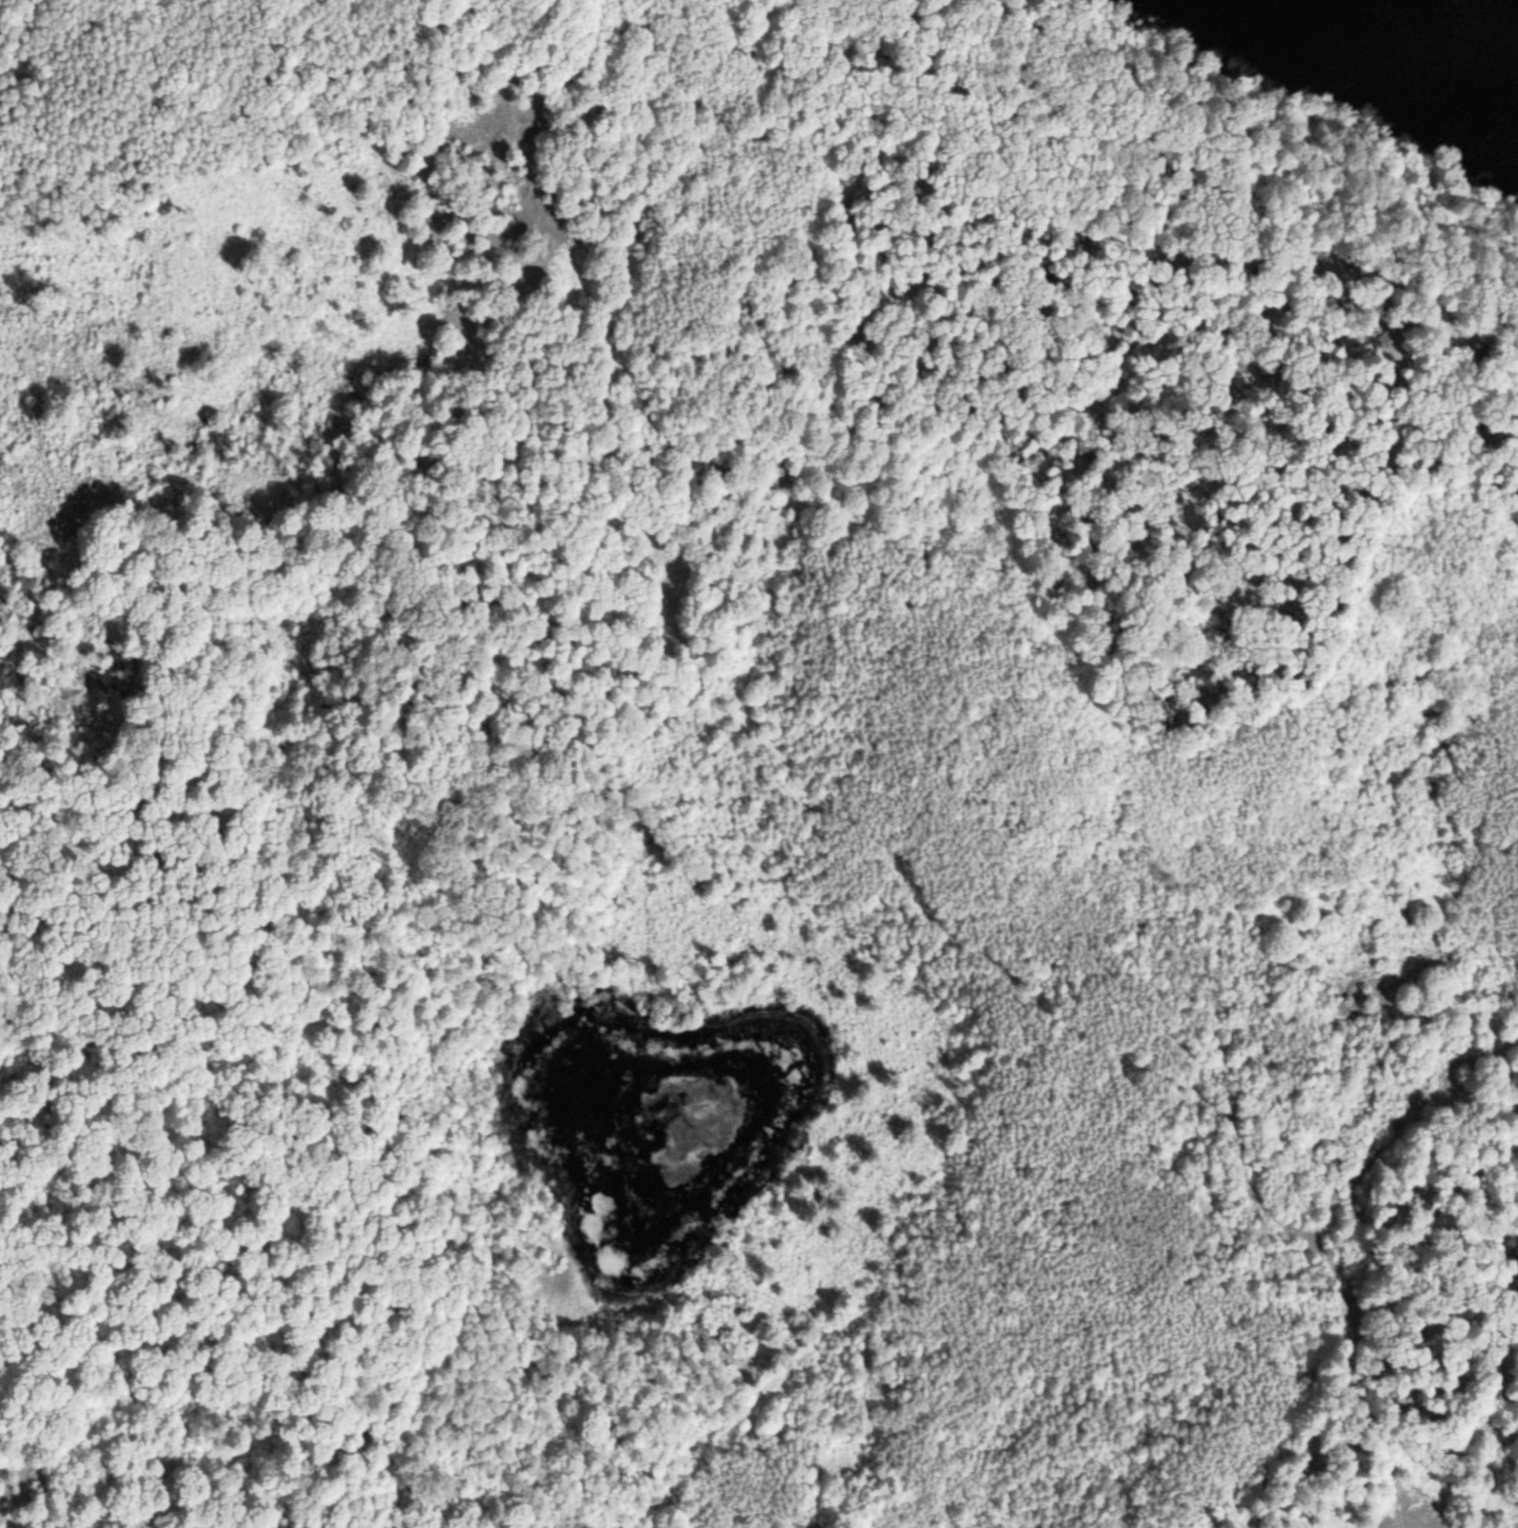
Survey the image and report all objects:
road: (1415, 1518)

